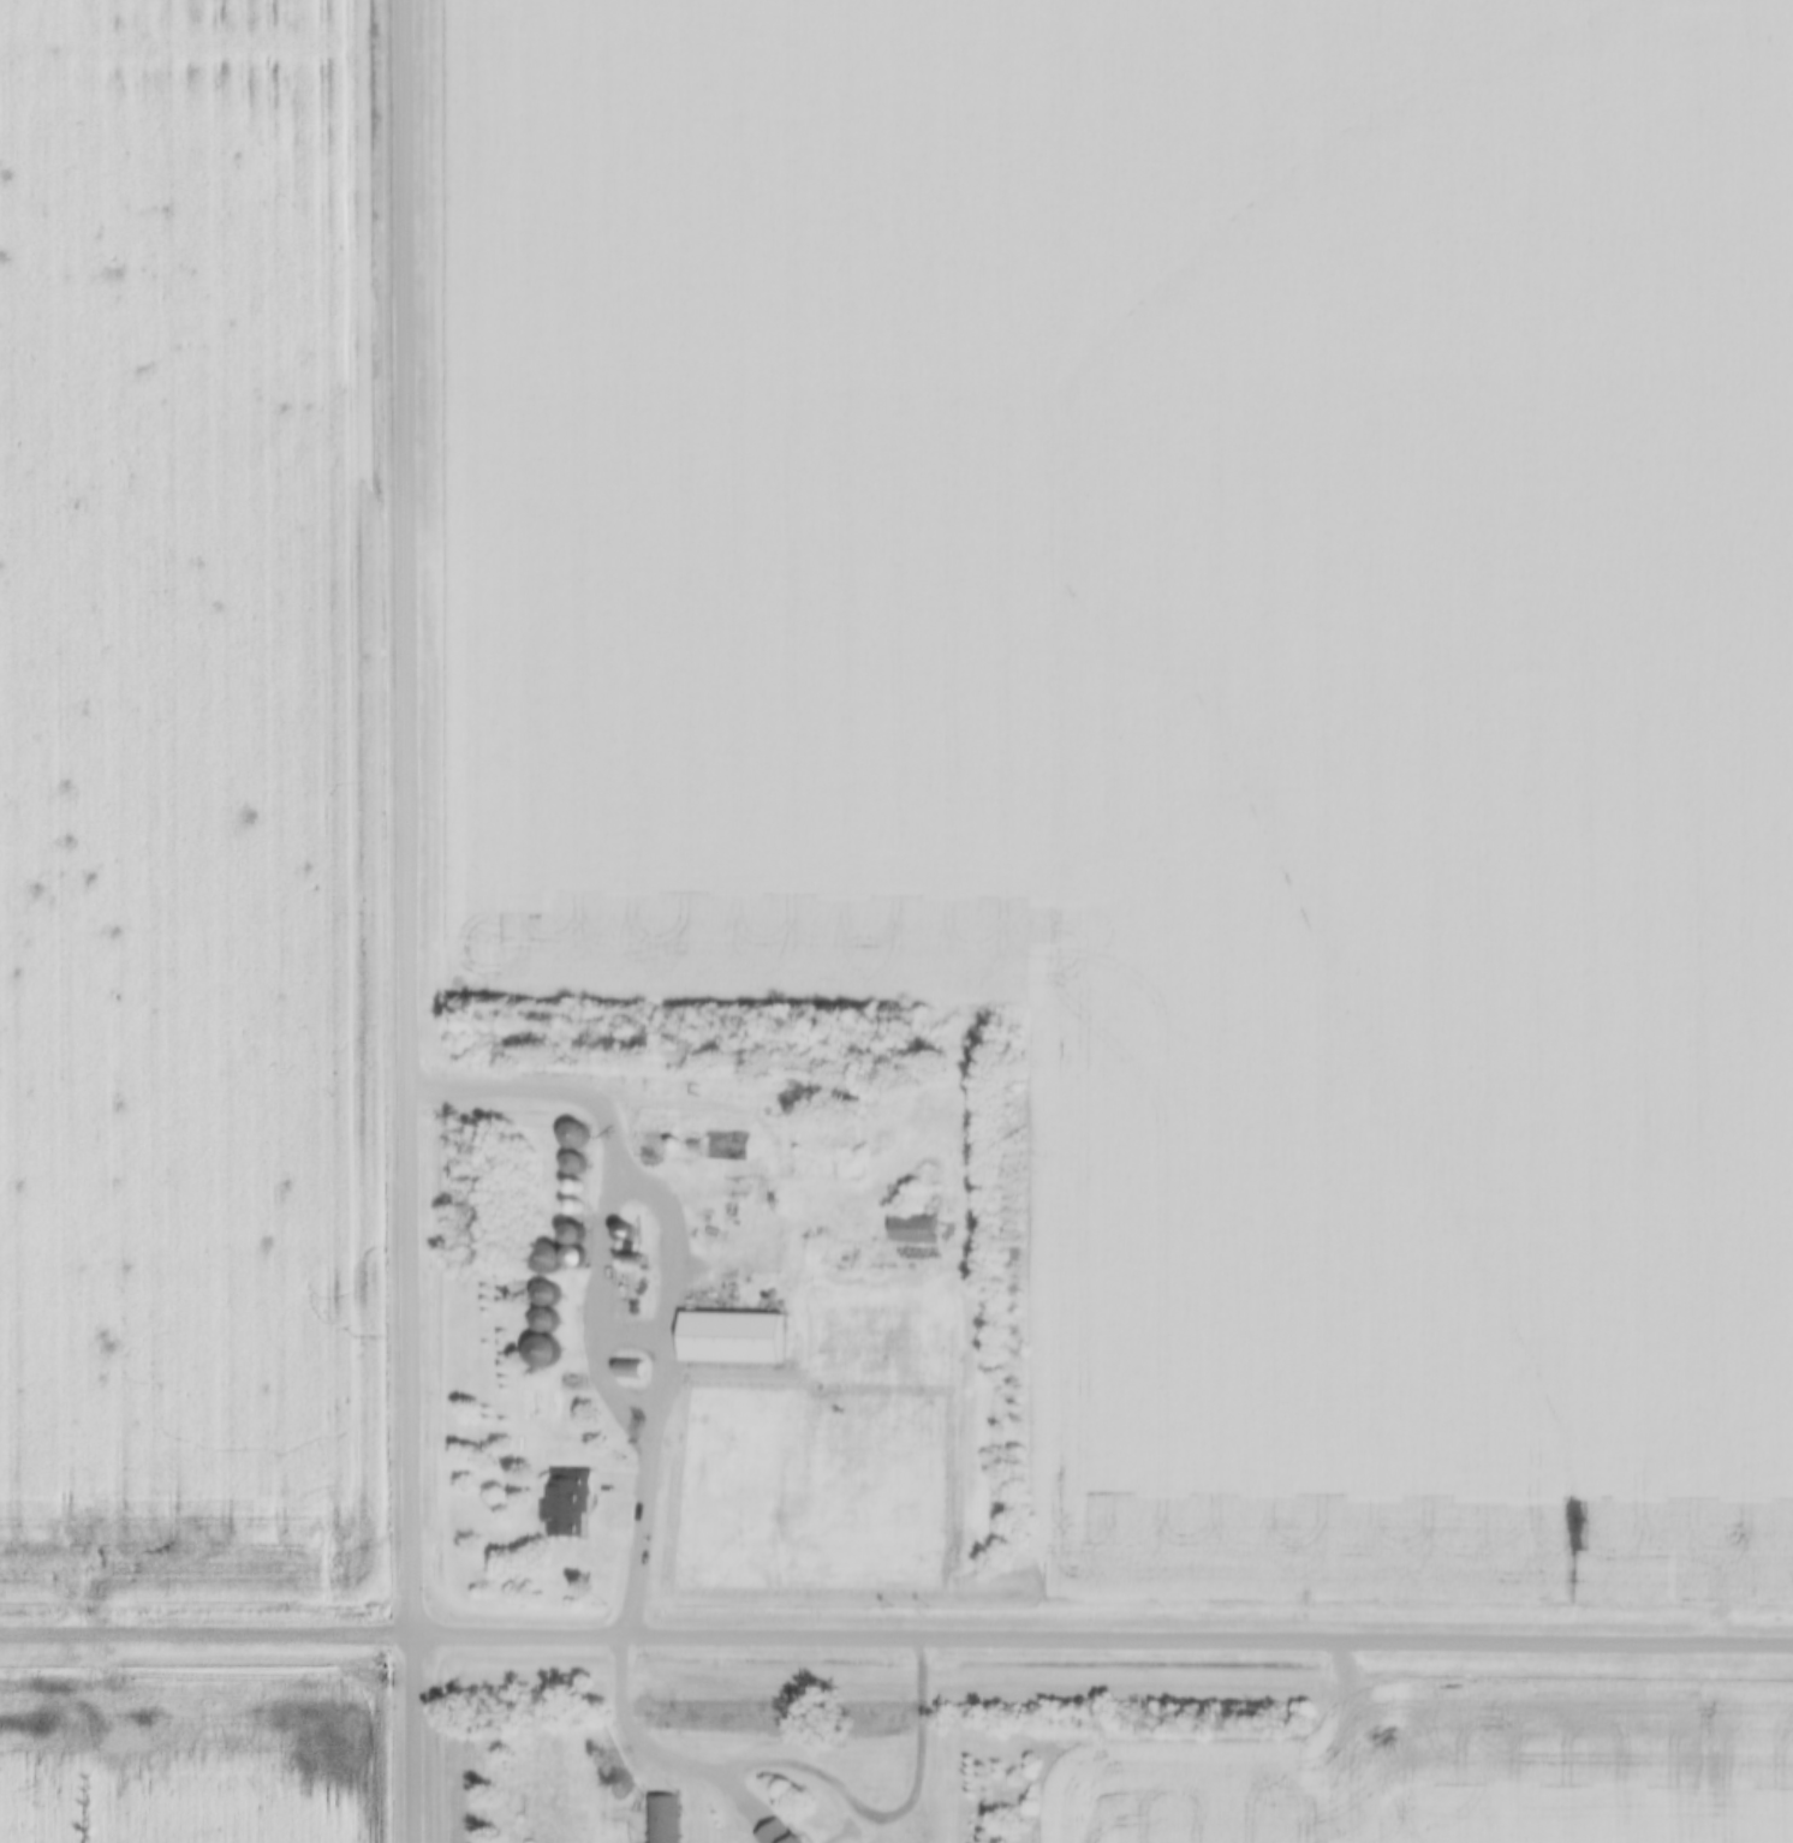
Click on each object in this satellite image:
road: (418, 921)
road: (745, 1104)
building: (548, 1259)
road: (671, 1263)
building: (549, 1296)
road: (610, 1308)
building: (733, 1338)
building: (546, 1352)
building: (631, 1370)
building: (571, 1383)
building: (716, 1392)
building: (570, 1504)
road: (896, 1639)
road: (816, 1766)
building: (661, 1819)
building: (784, 1833)

